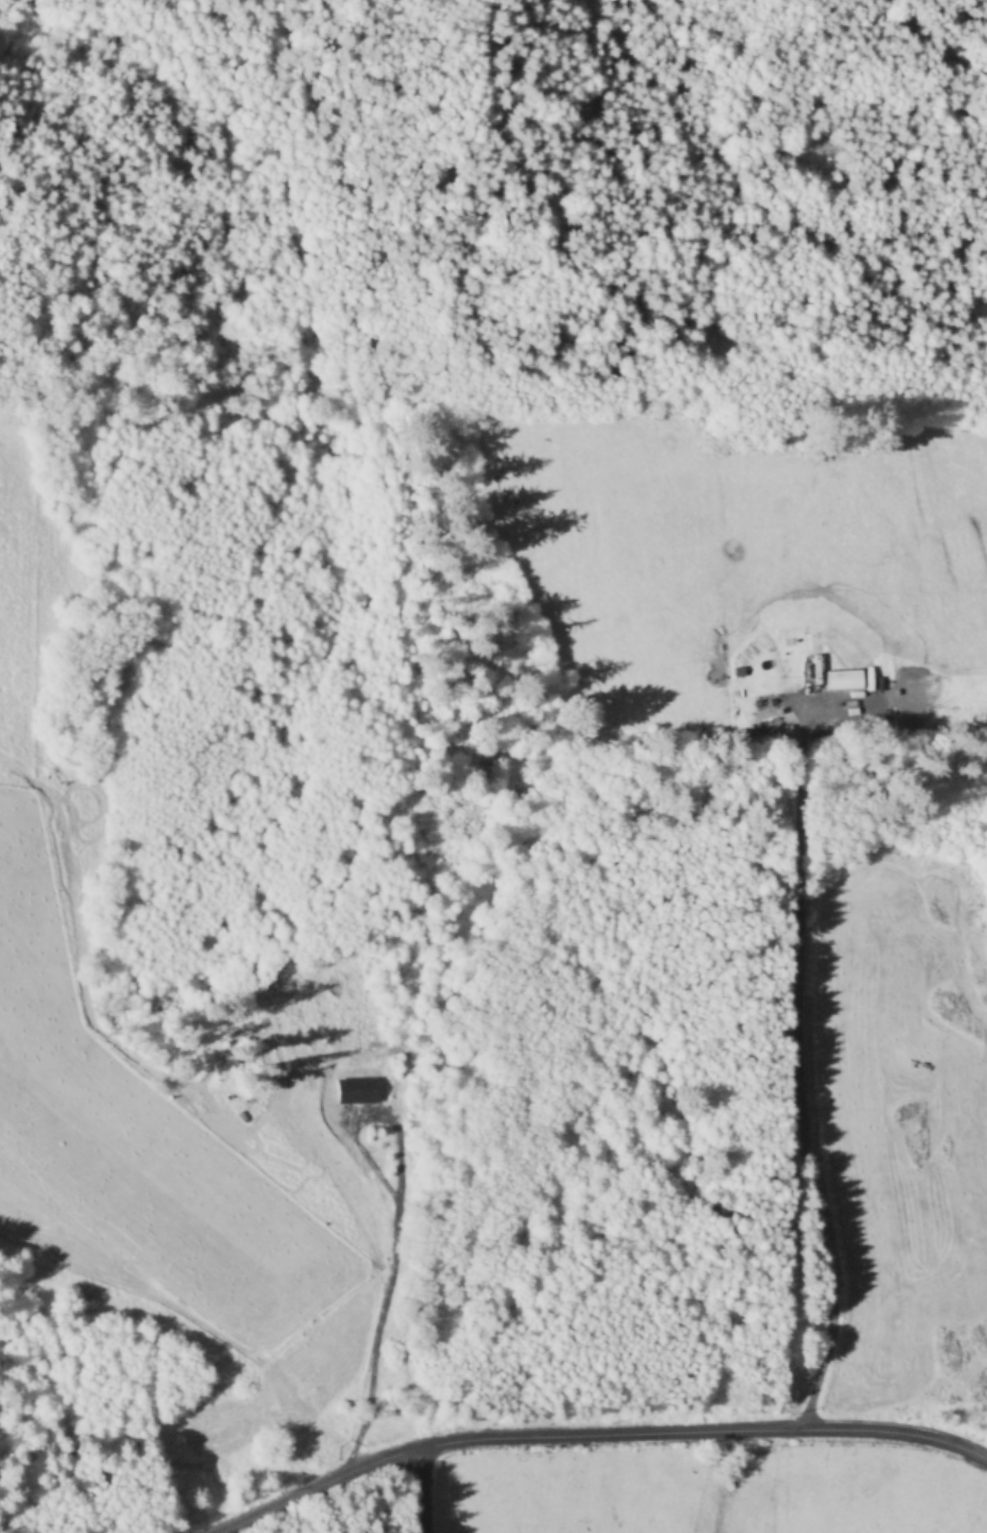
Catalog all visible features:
building: (957, 627)
building: (843, 681)
building: (763, 704)
building: (833, 730)
building: (763, 733)
road: (793, 1076)
road: (583, 1443)
road: (423, 1491)

